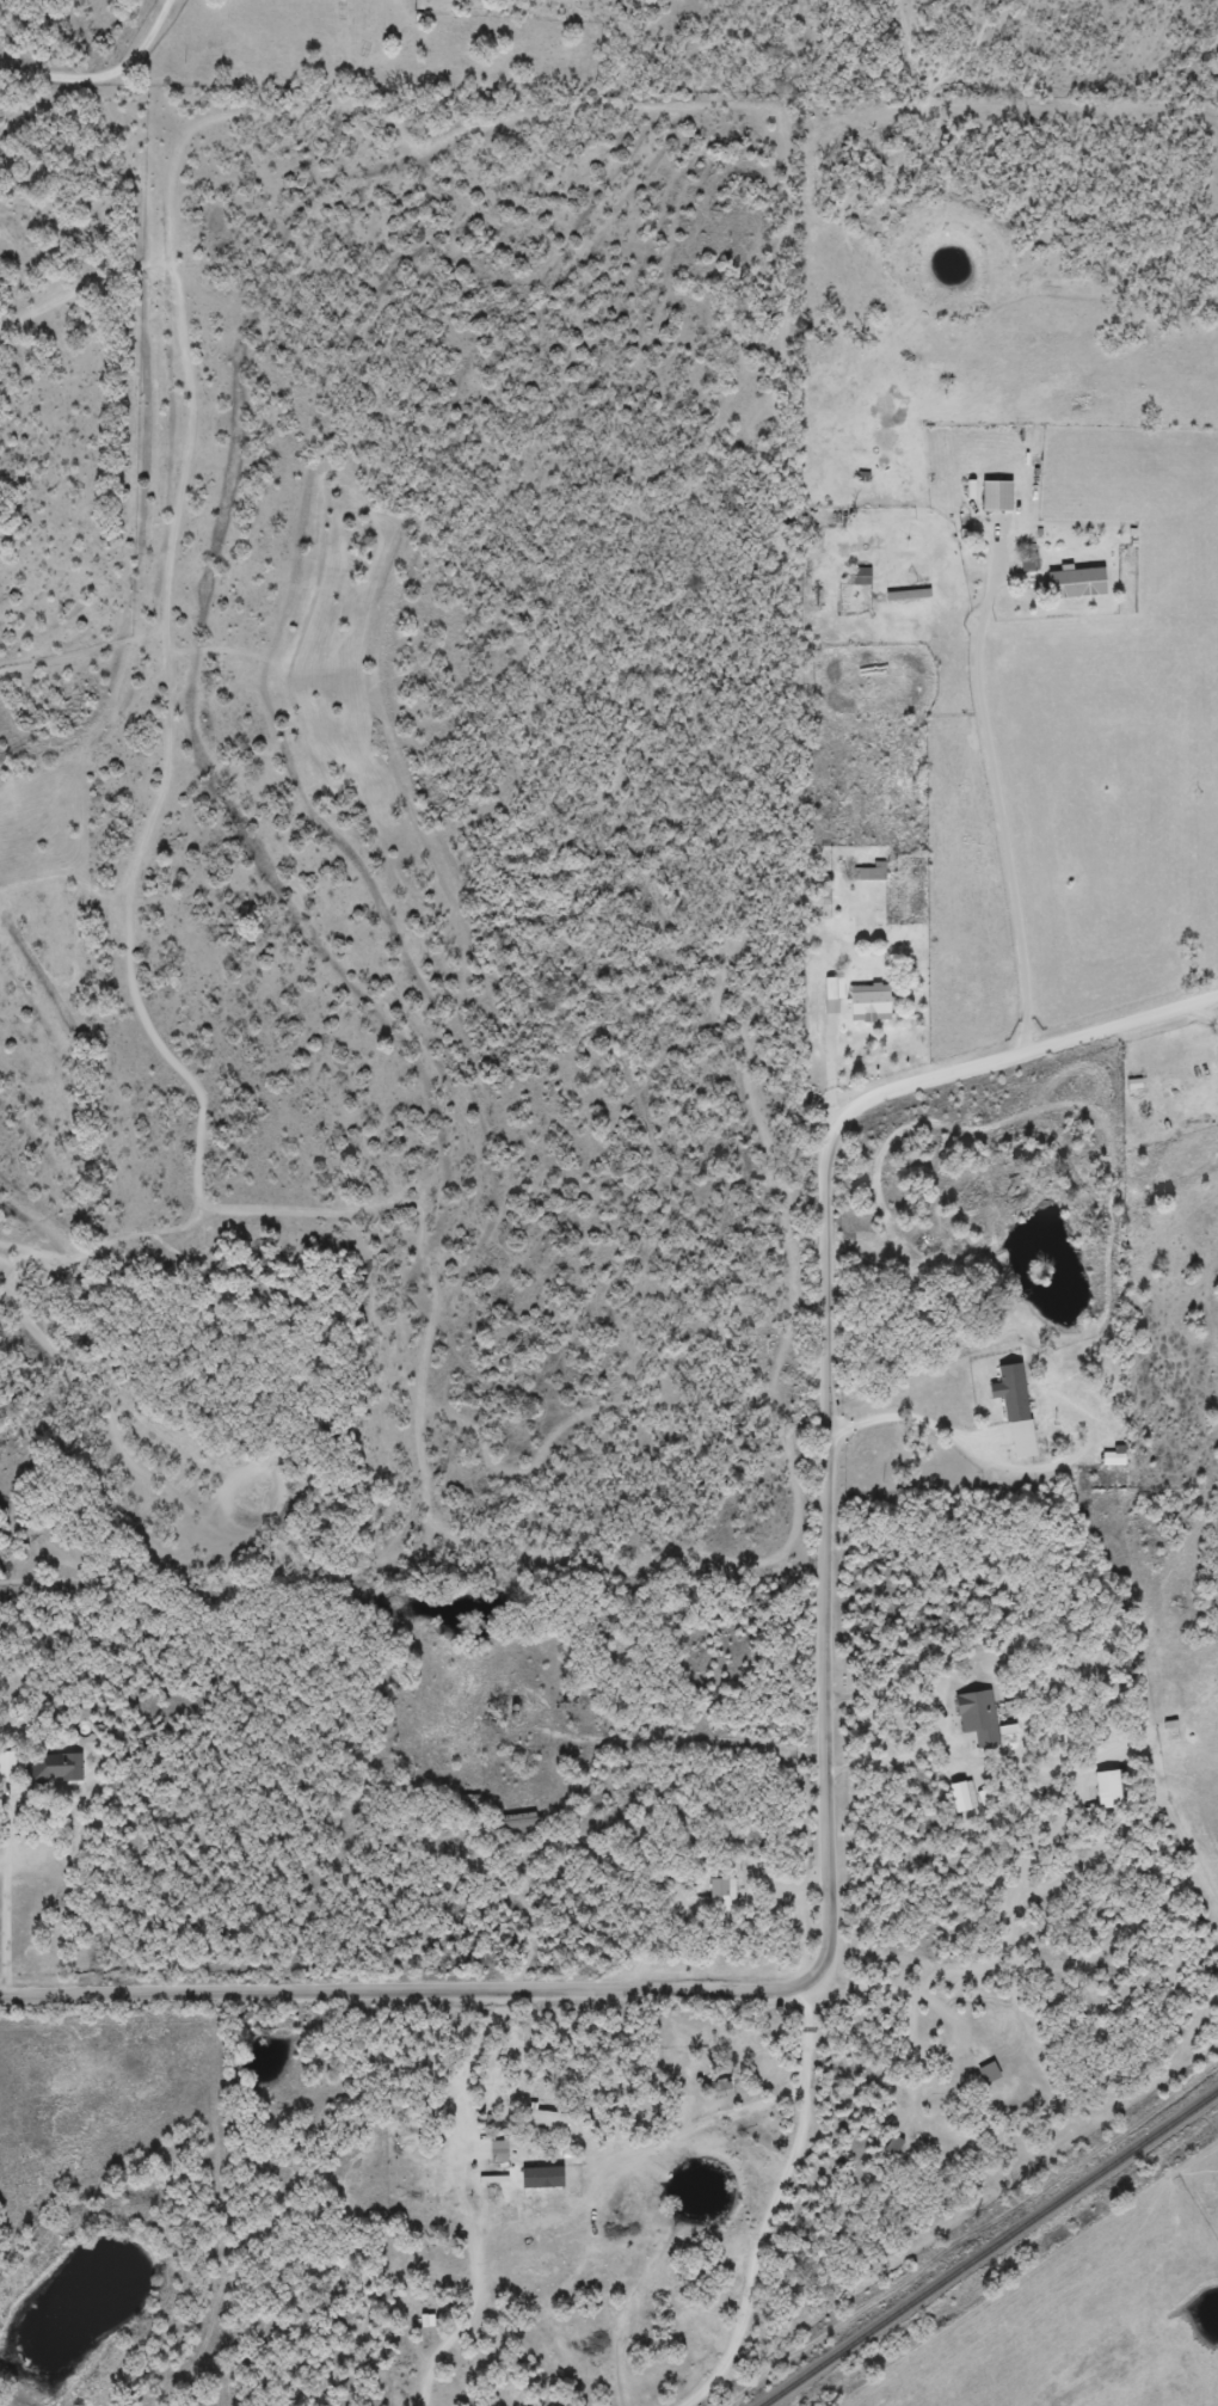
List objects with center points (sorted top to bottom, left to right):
road: (98, 91)
building: (992, 496)
building: (1074, 583)
building: (830, 990)
building: (867, 1003)
road: (825, 1356)
building: (1013, 1407)
building: (1112, 1456)
building: (976, 1717)
building: (10, 1766)
building: (57, 1768)
building: (1105, 1790)
building: (721, 1895)
road: (604, 1988)
road: (1200, 2017)
building: (986, 2073)
building: (542, 2120)
building: (891, 2144)
building: (494, 2150)
road: (954, 2218)
railway: (990, 2248)
road: (700, 2393)

